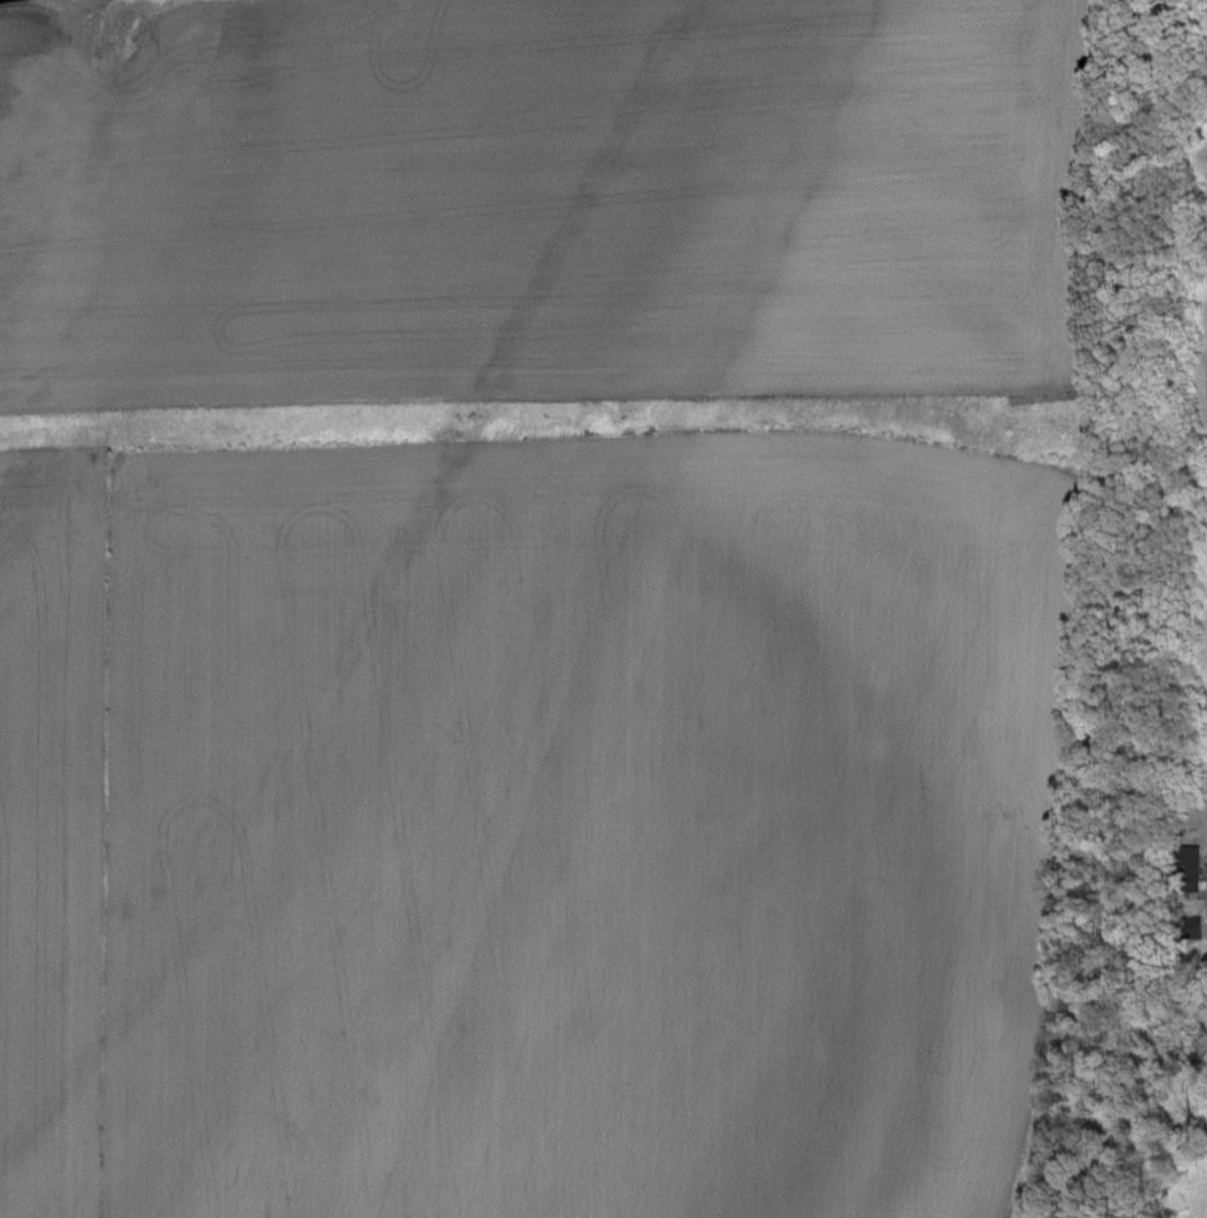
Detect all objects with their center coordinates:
building: (1191, 867)

